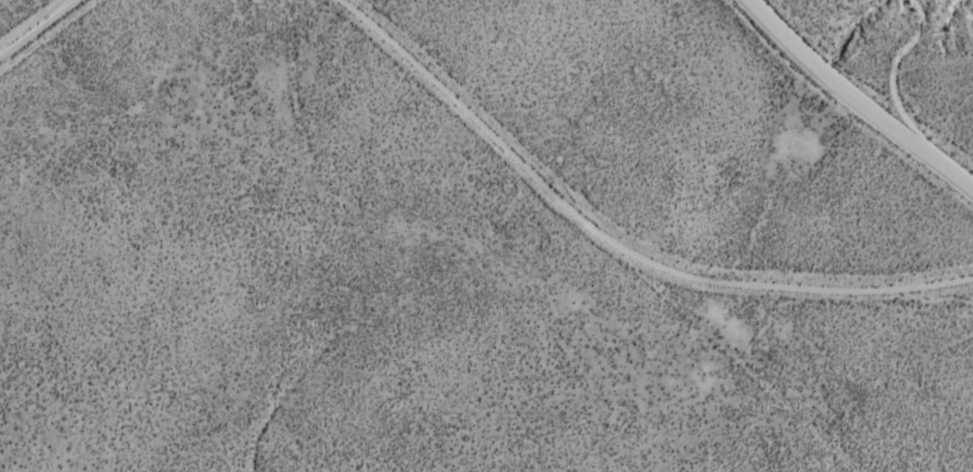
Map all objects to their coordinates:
road: (856, 101)

